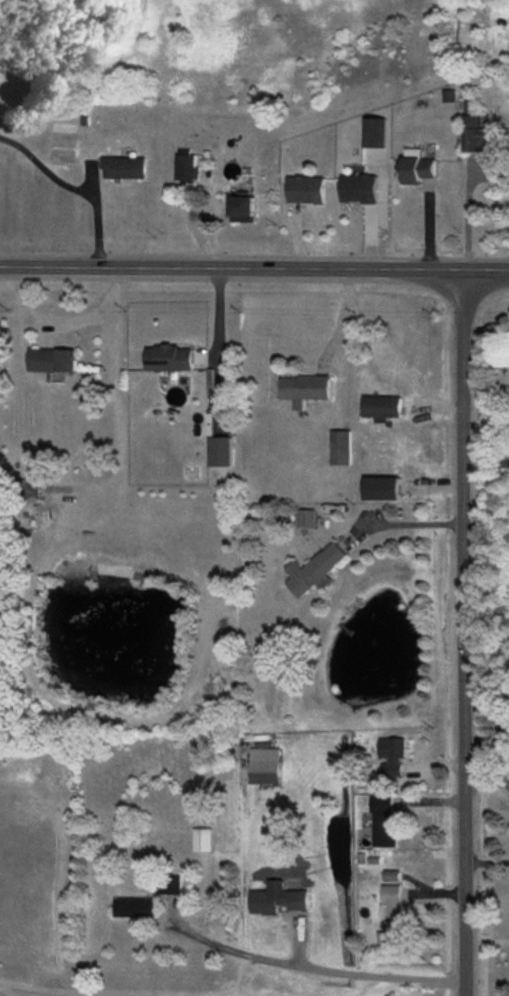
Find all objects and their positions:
building: (450, 95)
building: (475, 130)
building: (375, 132)
building: (125, 167)
building: (187, 167)
building: (419, 170)
building: (360, 188)
building: (307, 189)
road: (71, 194)
building: (243, 208)
road: (468, 216)
road: (254, 269)
road: (337, 322)
road: (42, 325)
road: (216, 346)
building: (171, 358)
building: (52, 360)
building: (306, 389)
road: (485, 392)
building: (383, 406)
road: (114, 409)
building: (341, 447)
building: (221, 451)
building: (32, 488)
building: (383, 488)
building: (306, 518)
road: (397, 522)
building: (315, 569)
road: (463, 632)
building: (392, 756)
building: (266, 766)
building: (384, 819)
building: (203, 839)
building: (393, 875)
building: (171, 884)
building: (278, 899)
building: (134, 907)
building: (394, 917)
road: (314, 974)

